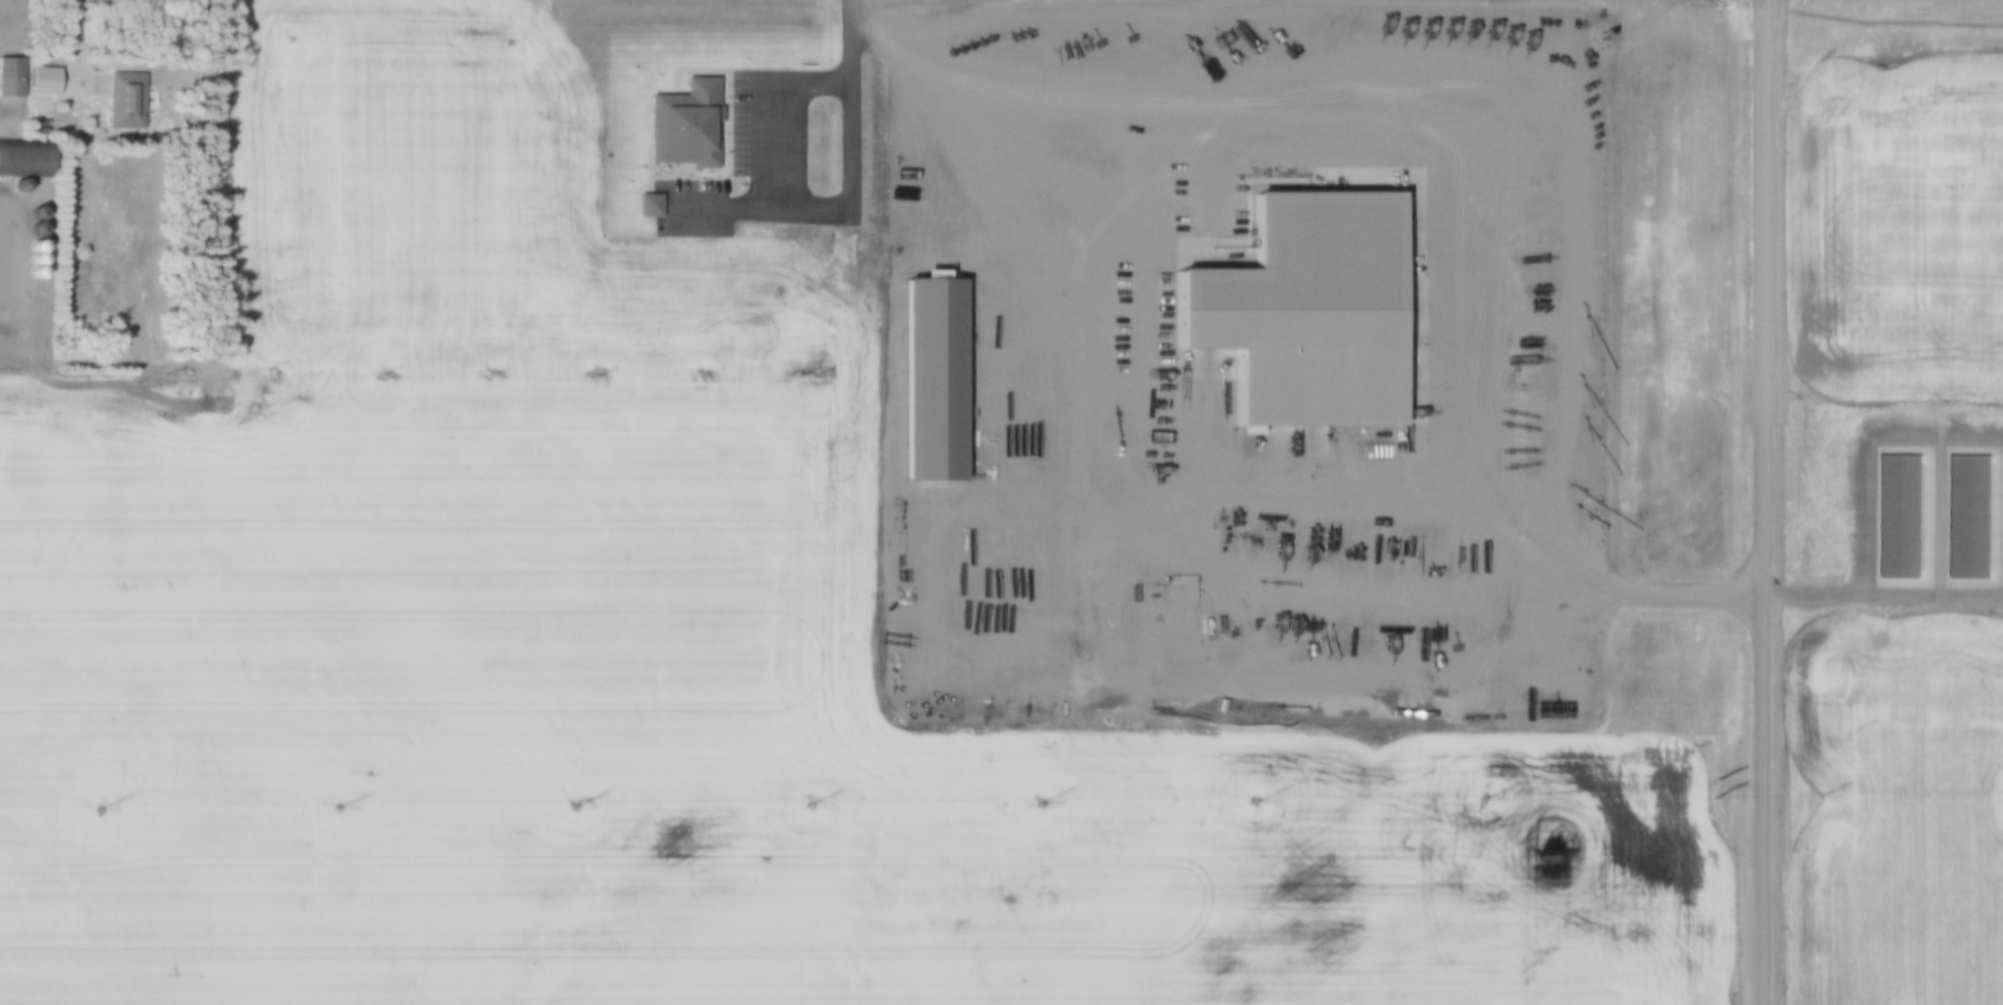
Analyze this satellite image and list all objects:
road: (1758, 0)
road: (76, 40)
building: (10, 78)
building: (41, 81)
building: (122, 100)
building: (682, 125)
building: (24, 157)
building: (17, 185)
silo: (17, 185)
building: (646, 206)
building: (32, 213)
silo: (32, 213)
building: (32, 229)
silo: (32, 229)
building: (31, 244)
silo: (31, 244)
road: (3, 273)
building: (1294, 296)
building: (923, 367)
road: (1758, 503)
building: (1899, 517)
building: (1968, 517)

